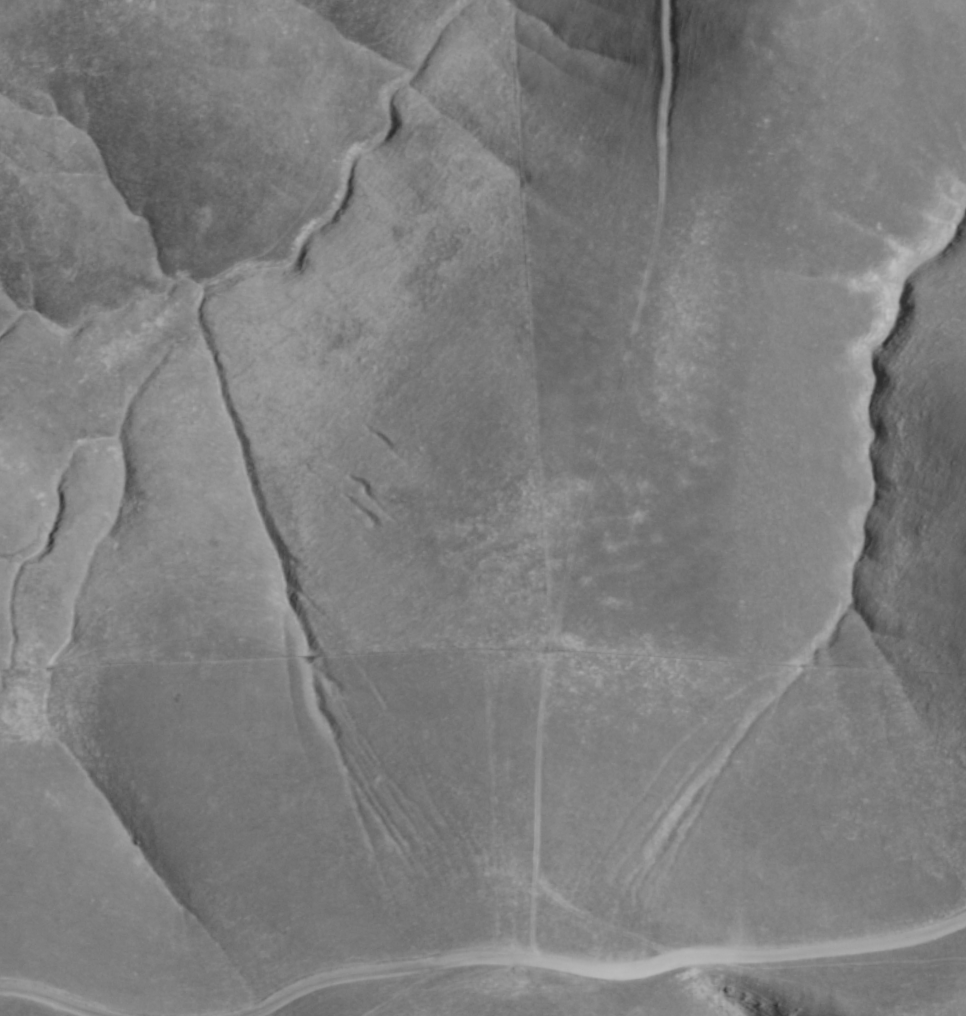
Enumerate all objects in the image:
road: (606, 975)
road: (48, 999)

